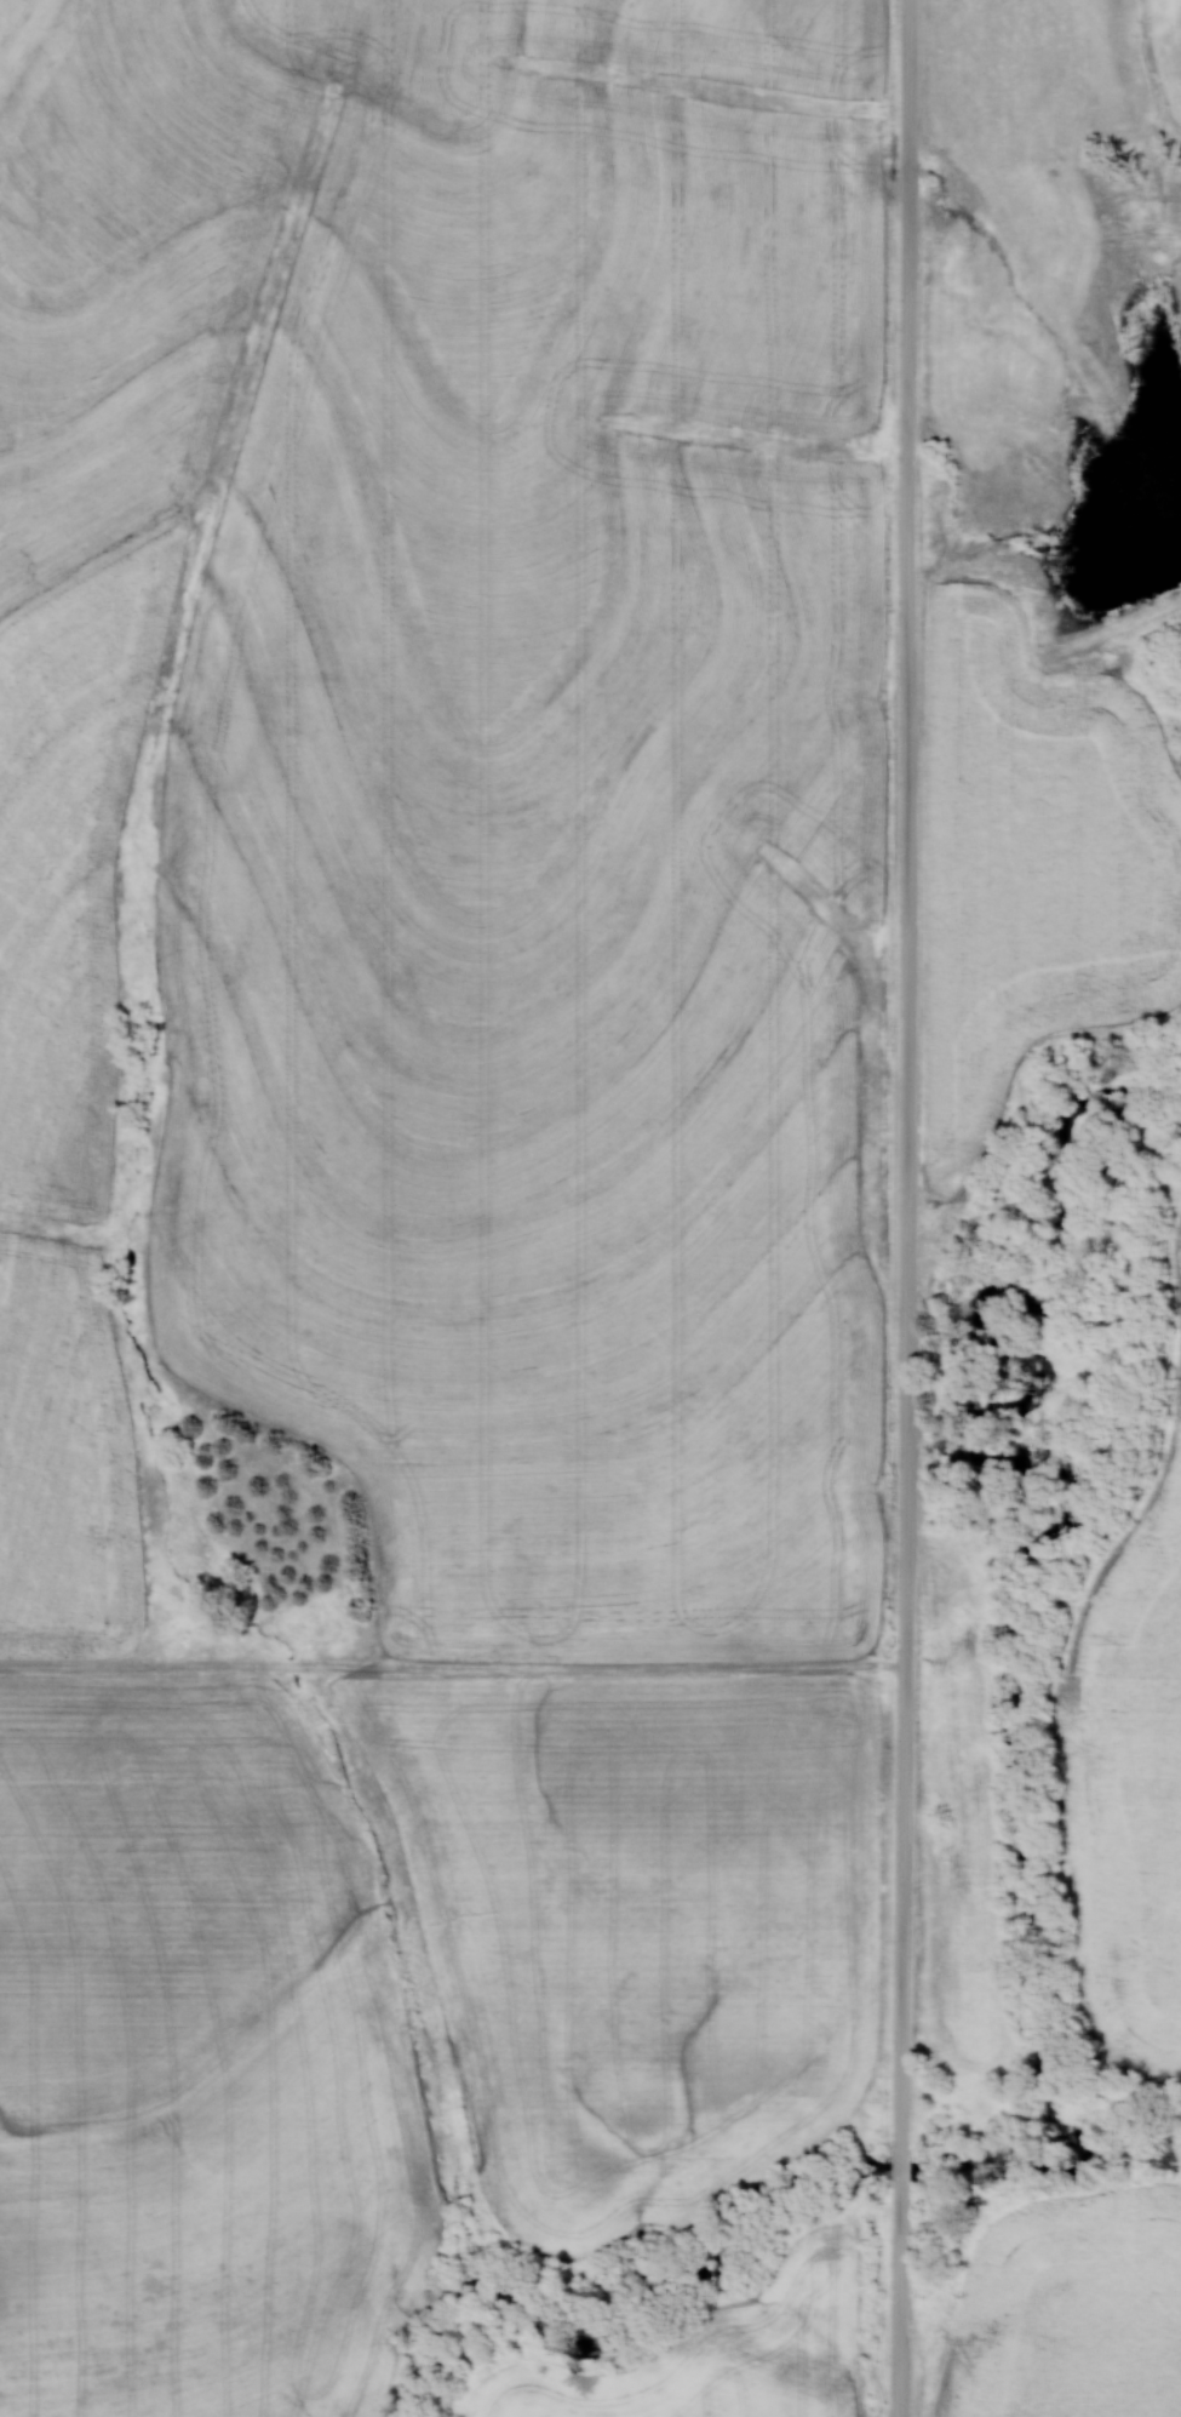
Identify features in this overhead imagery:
road: (910, 1074)
road: (900, 2164)
road: (899, 2297)

